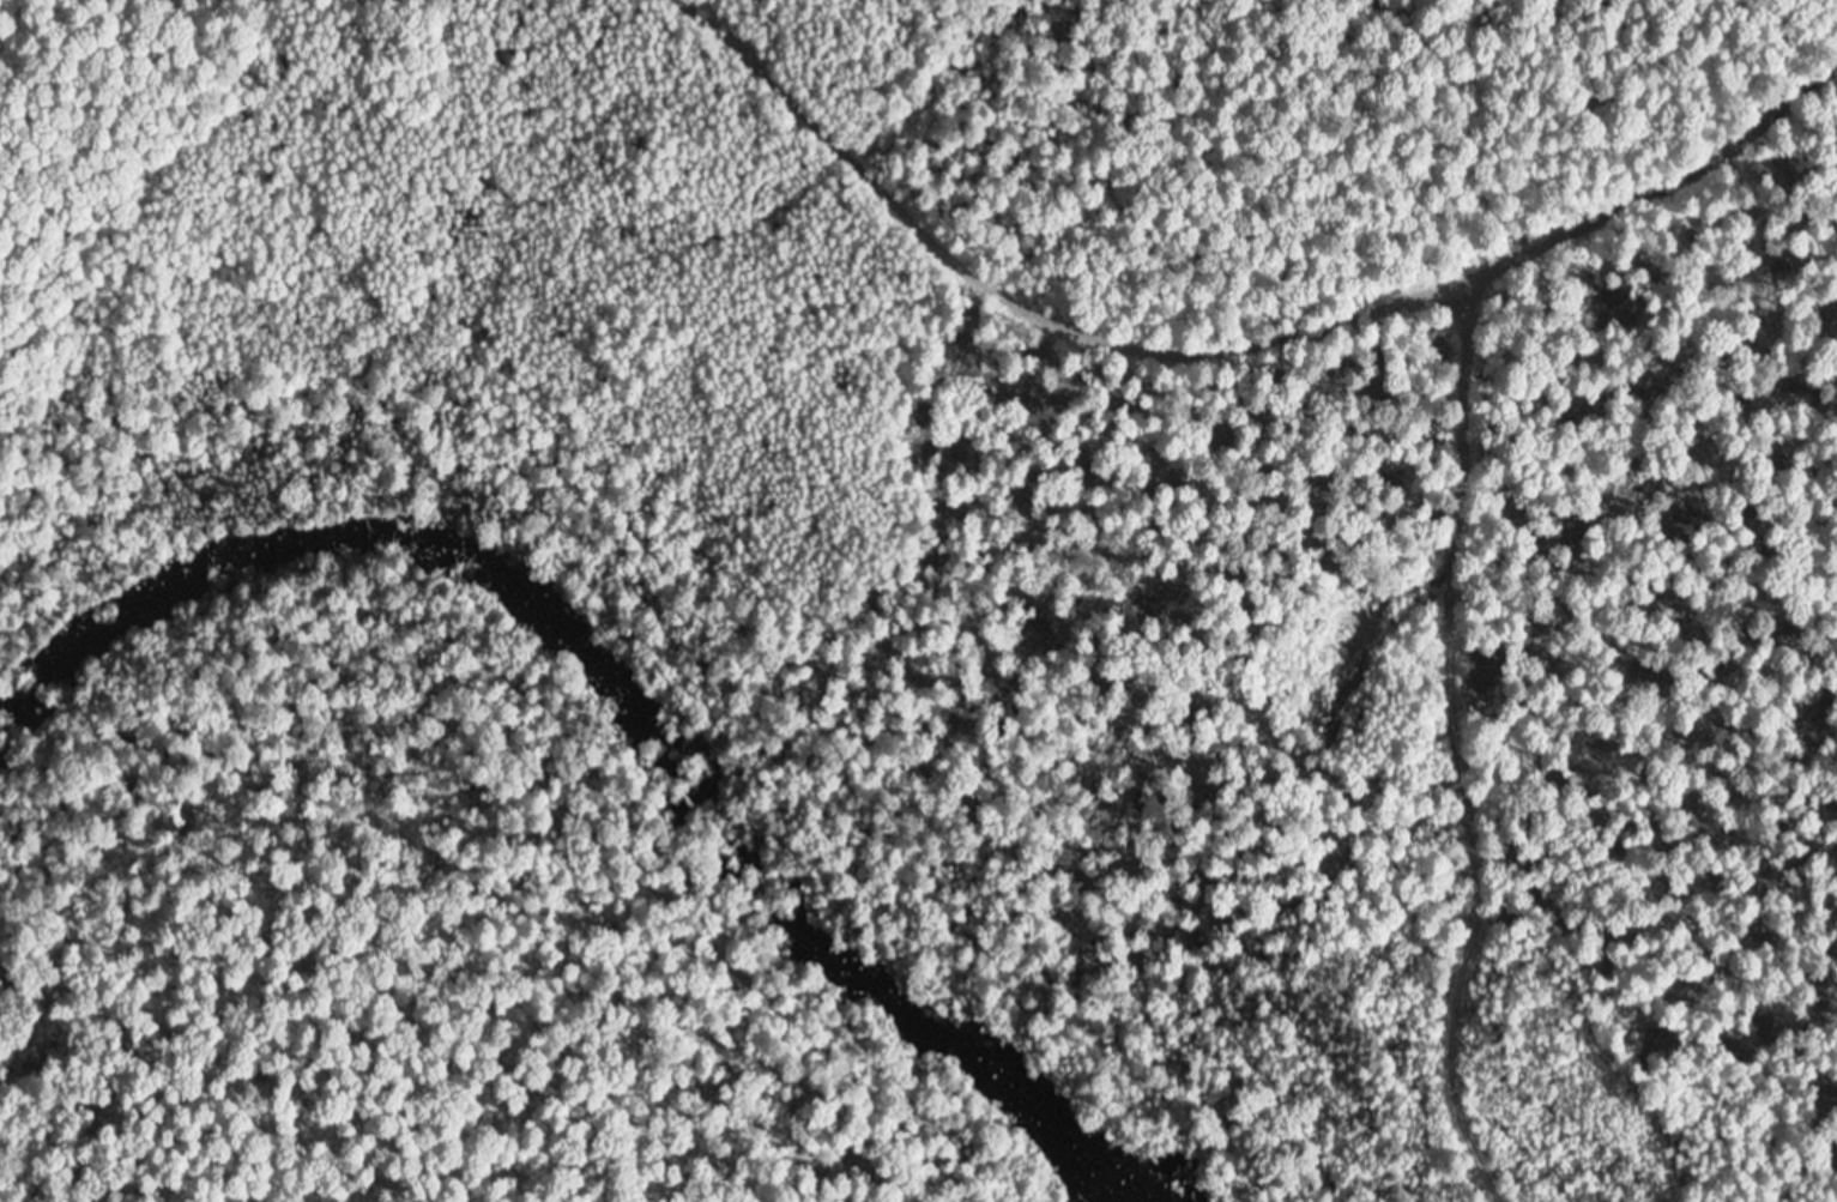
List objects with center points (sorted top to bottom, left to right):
road: (1223, 350)
river: (626, 688)

